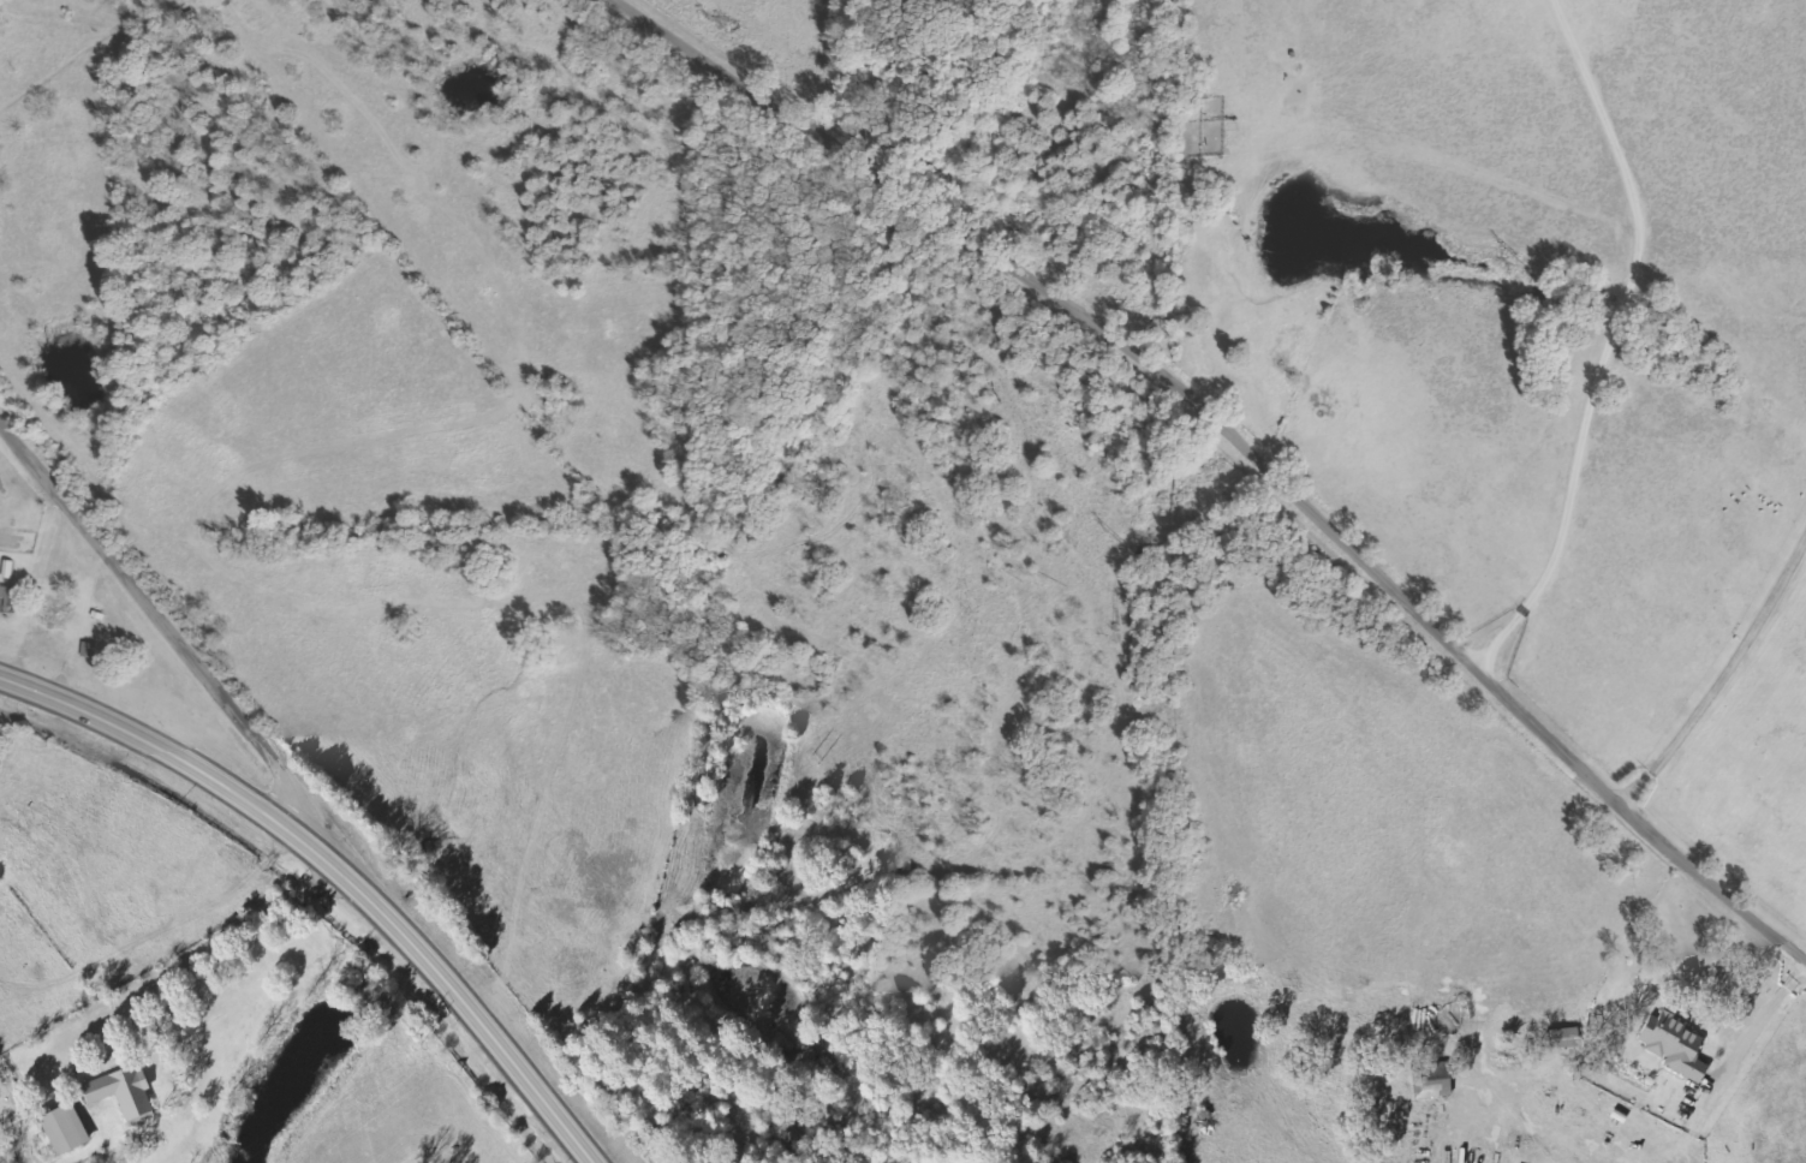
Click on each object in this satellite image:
power tower: (1524, 262)
road: (1239, 445)
power tower: (1122, 544)
building: (7, 598)
road: (167, 624)
building: (93, 649)
power tower: (815, 763)
road: (330, 867)
road: (179, 966)
building: (1566, 1039)
power tower: (413, 1043)
building: (1677, 1045)
building: (1436, 1084)
building: (126, 1095)
building: (67, 1129)

